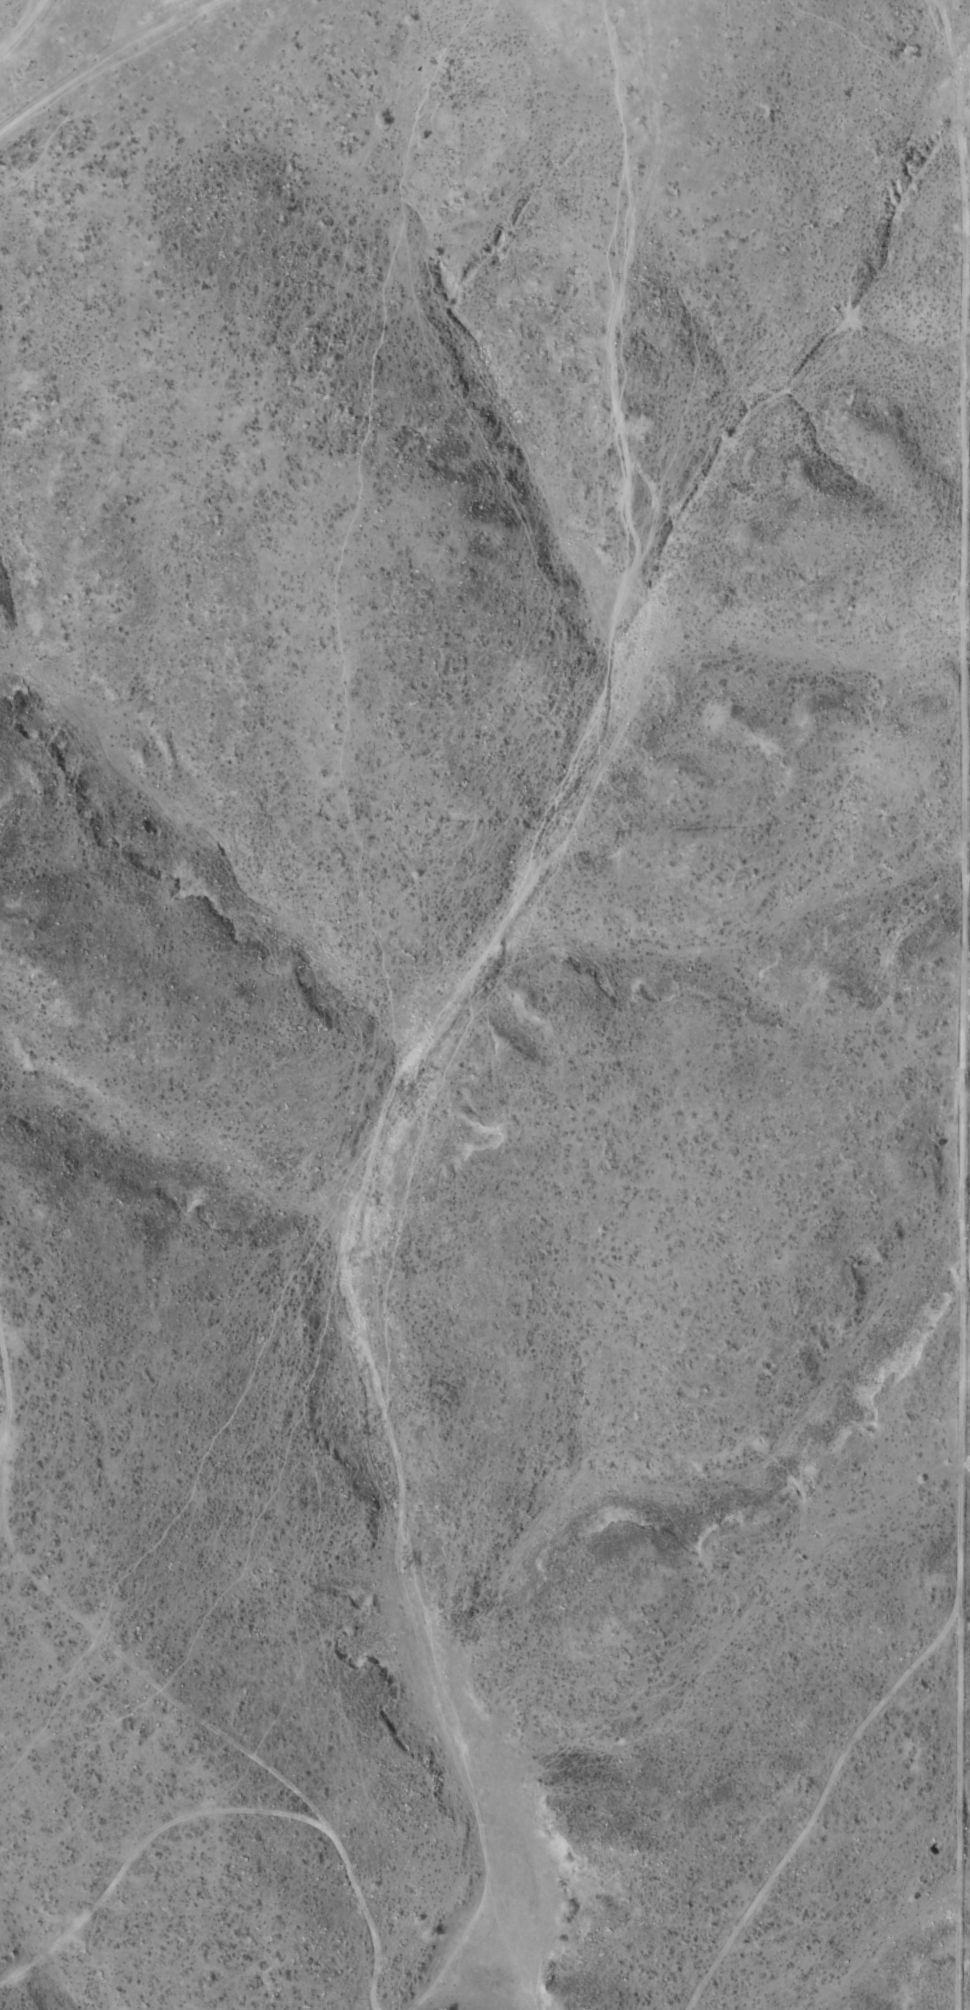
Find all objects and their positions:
road: (12, 24)
road: (0, 1463)

